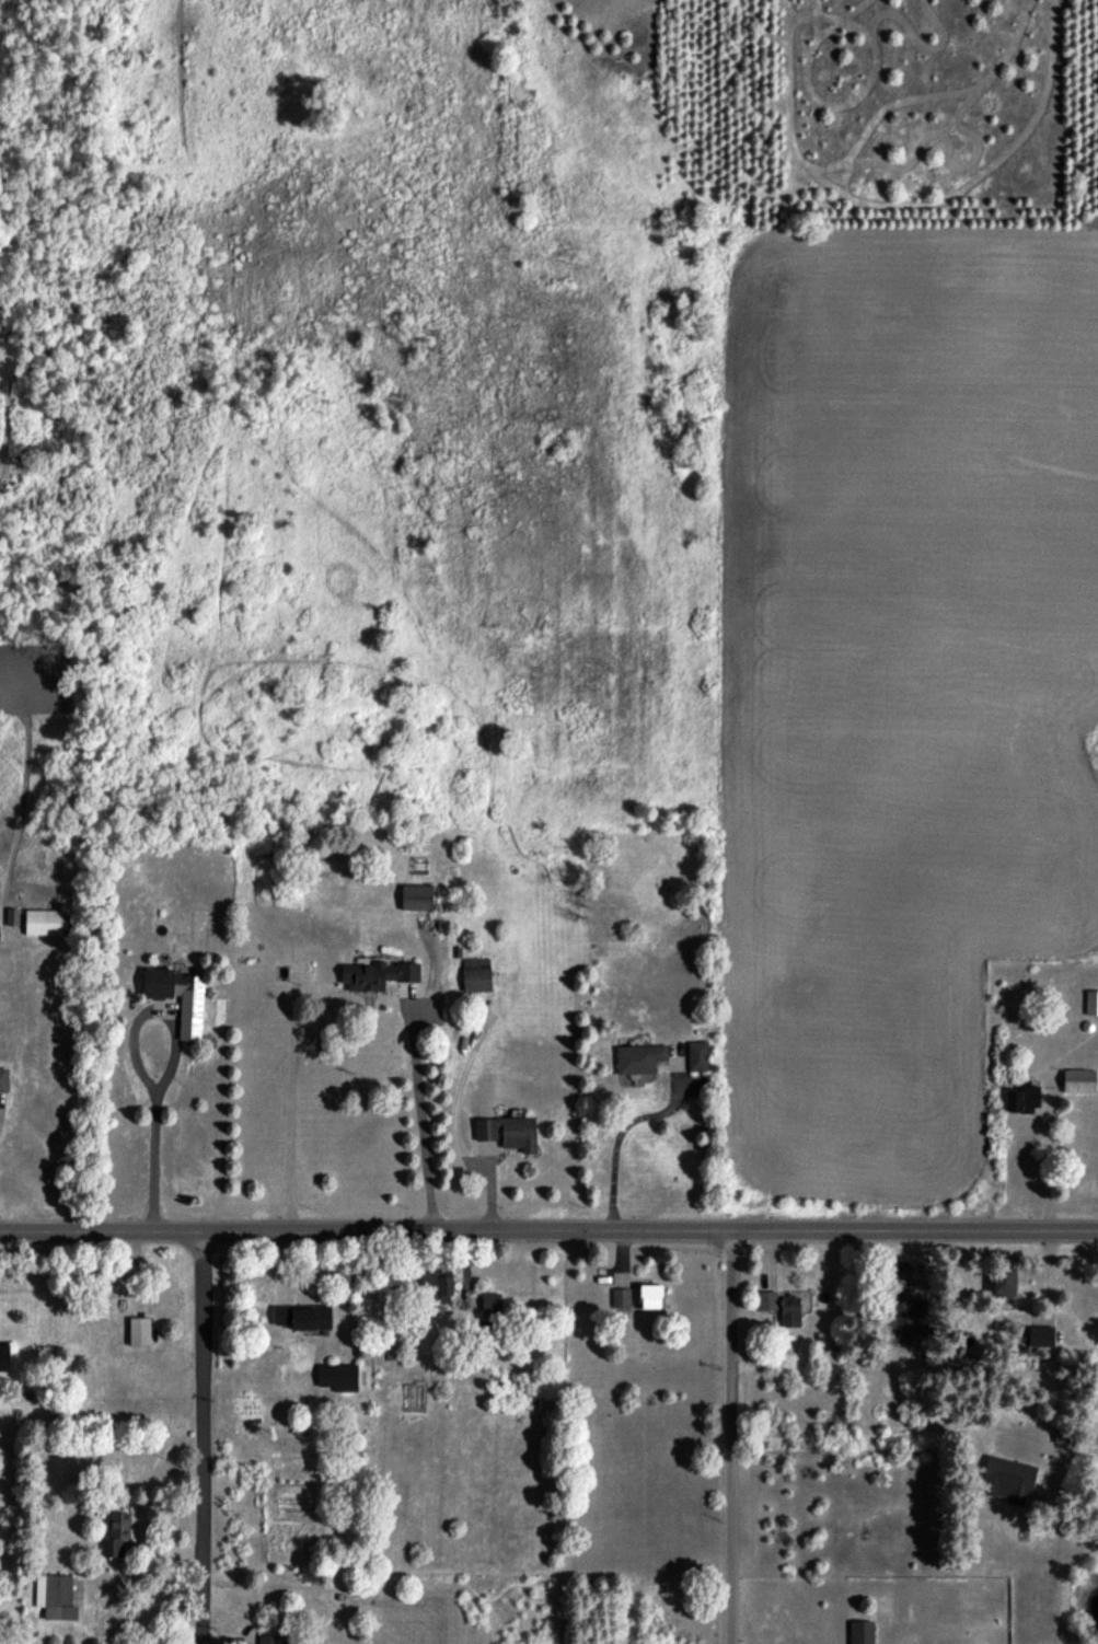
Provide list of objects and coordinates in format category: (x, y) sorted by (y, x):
building: (416, 896)
building: (43, 922)
building: (377, 974)
building: (476, 974)
building: (176, 989)
building: (1091, 1002)
building: (697, 1055)
building: (639, 1058)
road: (167, 1066)
building: (1078, 1080)
building: (3, 1085)
building: (1024, 1098)
road: (419, 1118)
building: (508, 1132)
road: (617, 1139)
road: (486, 1185)
road: (548, 1230)
building: (1004, 1282)
building: (436, 1285)
building: (650, 1296)
building: (621, 1297)
building: (766, 1299)
building: (490, 1303)
building: (789, 1310)
building: (303, 1316)
building: (139, 1331)
building: (1041, 1335)
building: (3, 1356)
building: (337, 1376)
road: (1094, 1429)
road: (730, 1437)
road: (203, 1438)
building: (1007, 1479)
building: (116, 1533)
building: (55, 1596)
building: (862, 1632)
building: (269, 1639)

